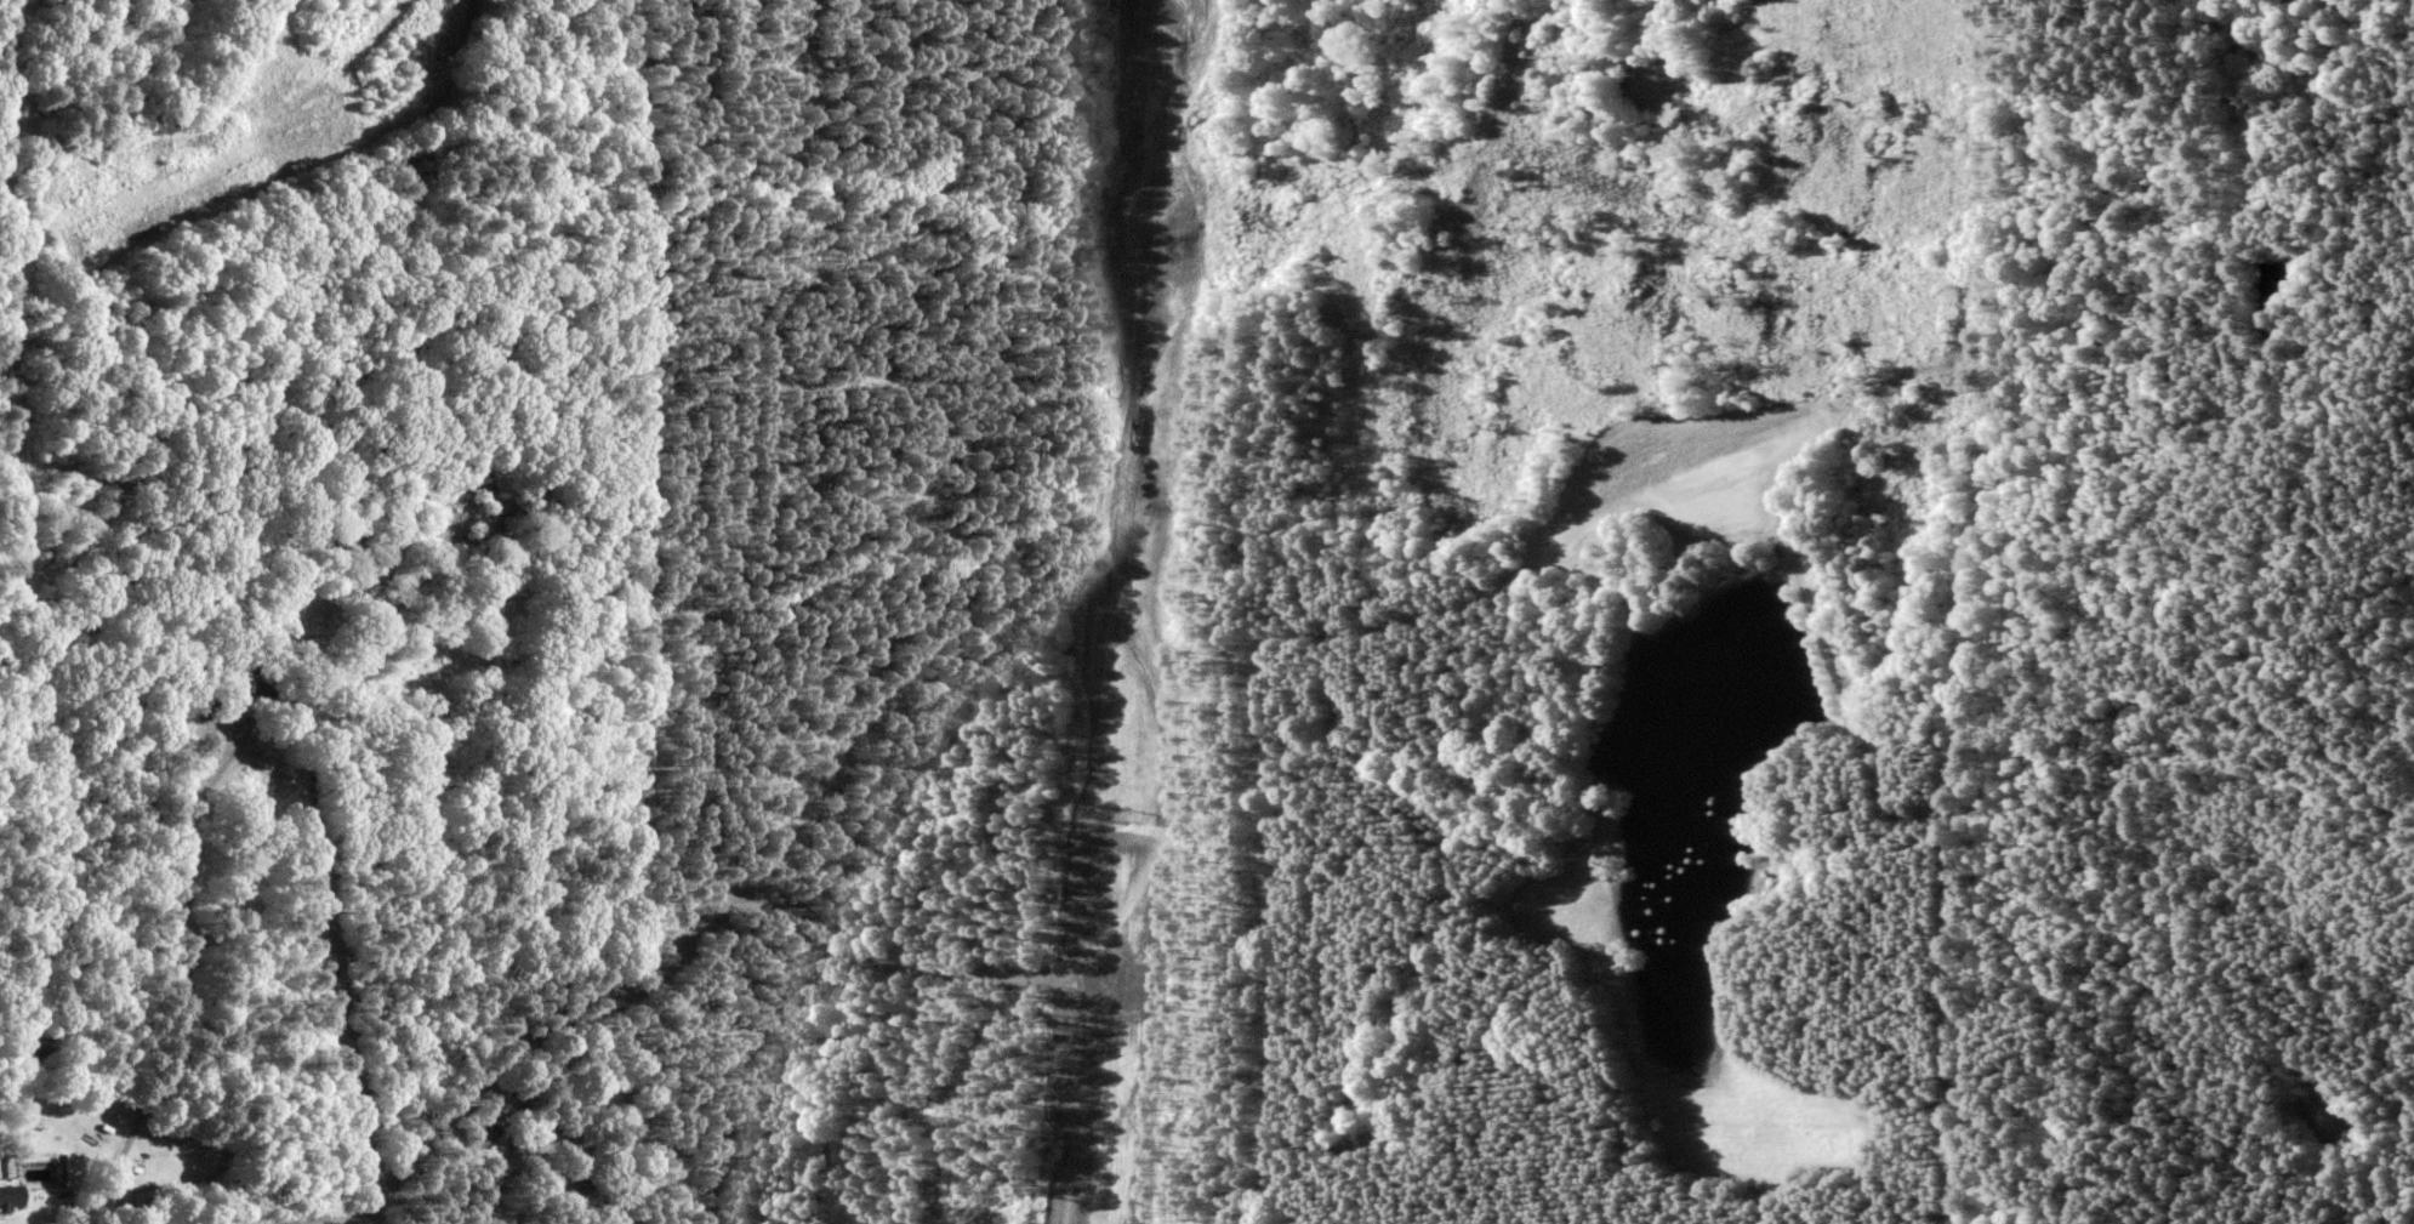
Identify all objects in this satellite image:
road: (57, 499)
building: (244, 679)
power tower: (1122, 813)
building: (473, 1127)
building: (7, 1199)

